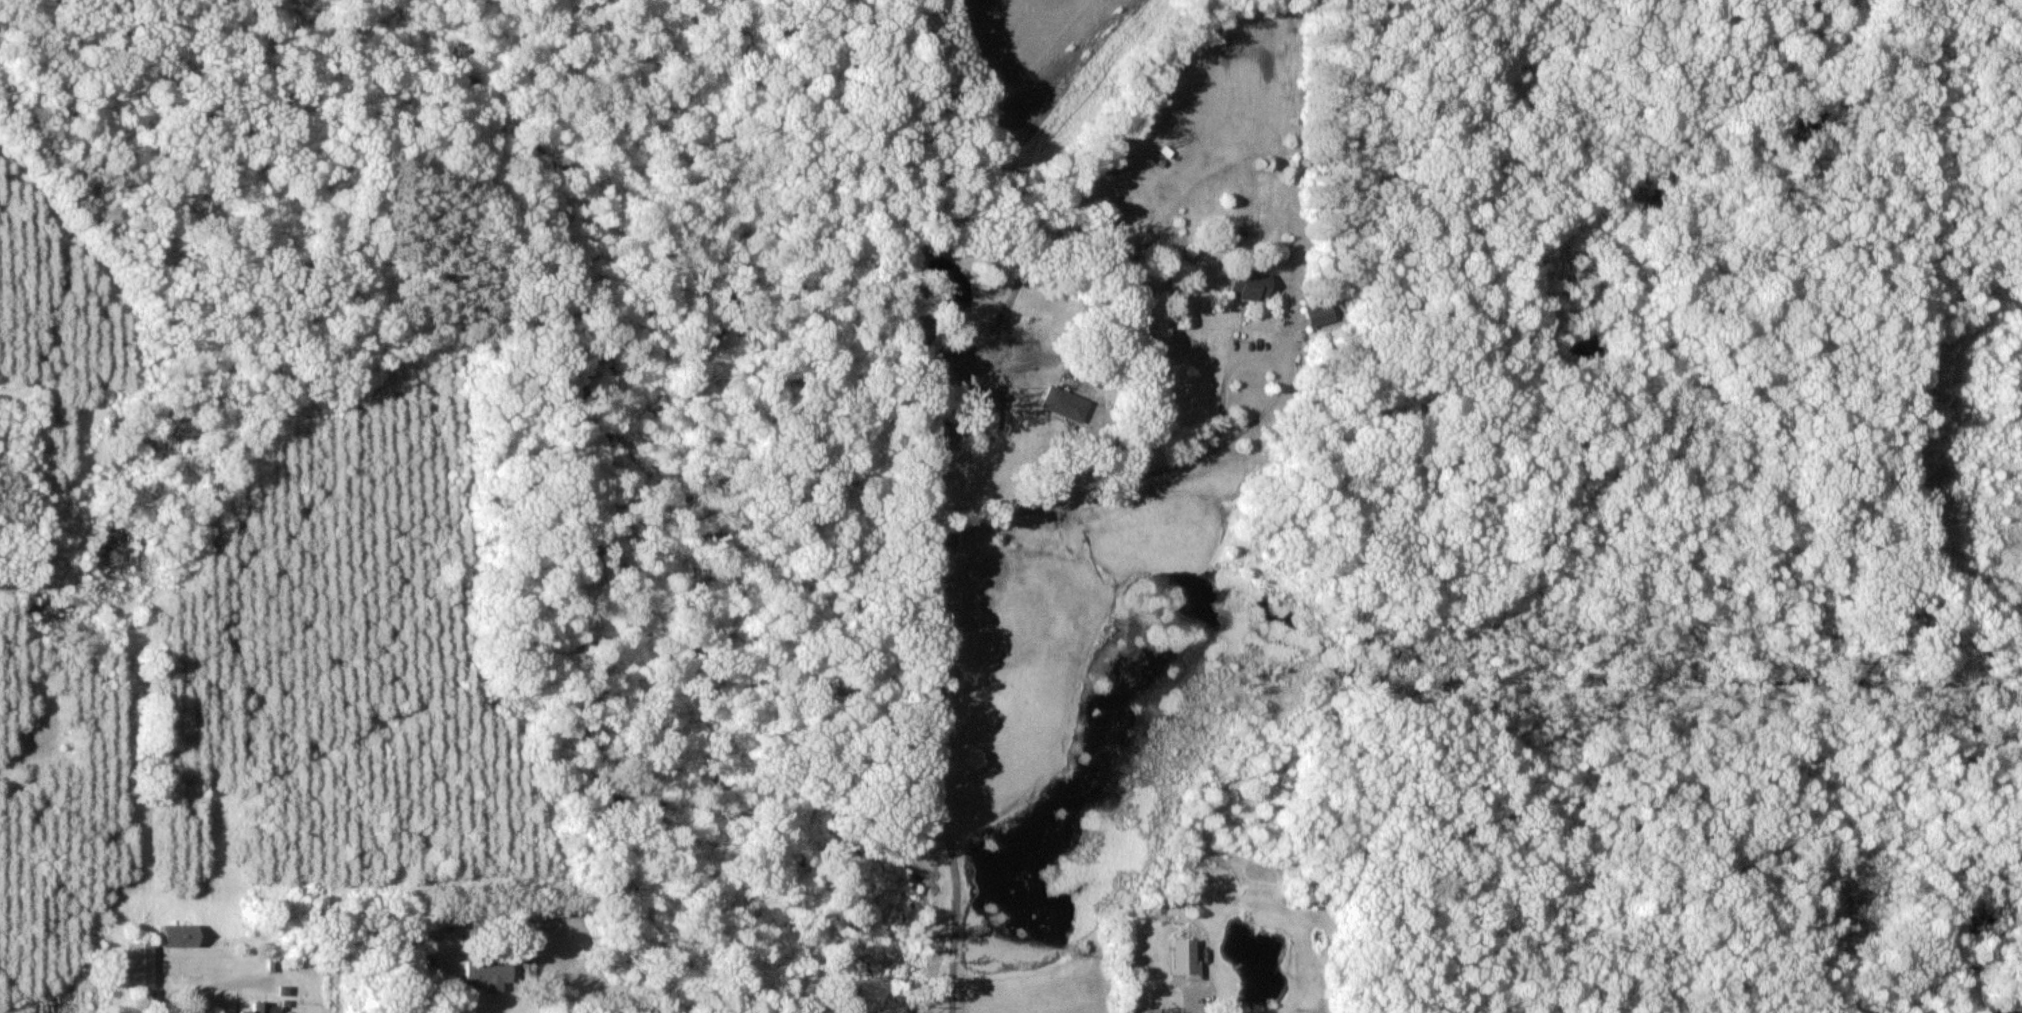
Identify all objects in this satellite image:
building: (1248, 283)
building: (1320, 314)
road: (1268, 357)
building: (1063, 403)
building: (985, 418)
building: (935, 435)
road: (923, 630)
building: (177, 934)
building: (1183, 958)
building: (140, 964)
building: (487, 972)
road: (203, 982)
road: (453, 989)
building: (264, 1007)
building: (1165, 1012)

